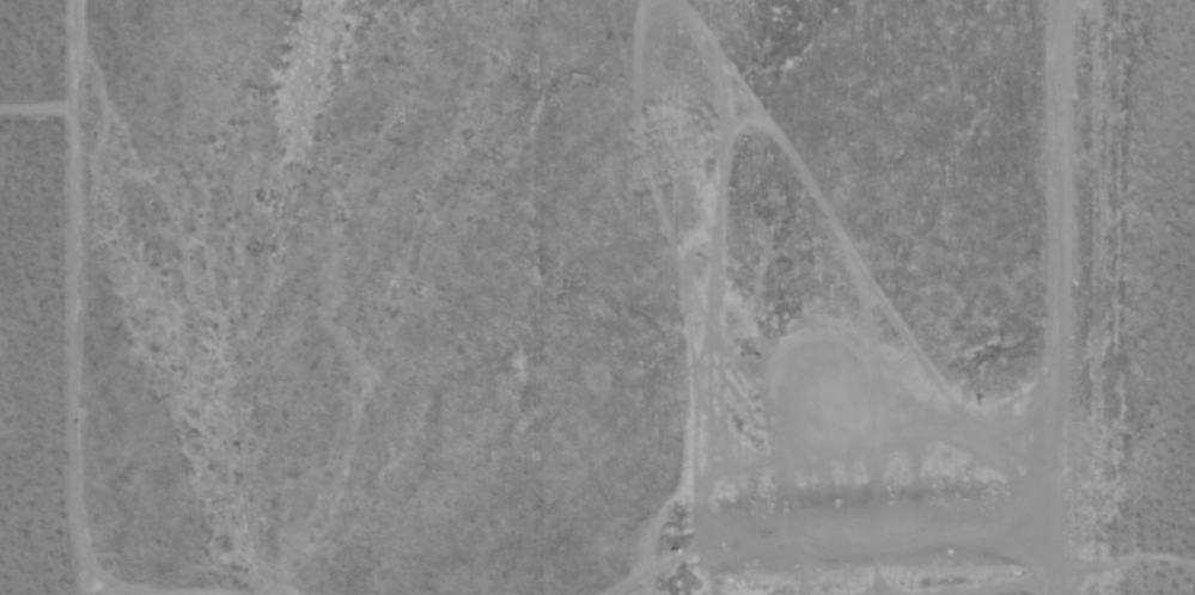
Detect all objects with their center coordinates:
road: (1055, 297)
road: (72, 299)
road: (117, 594)

